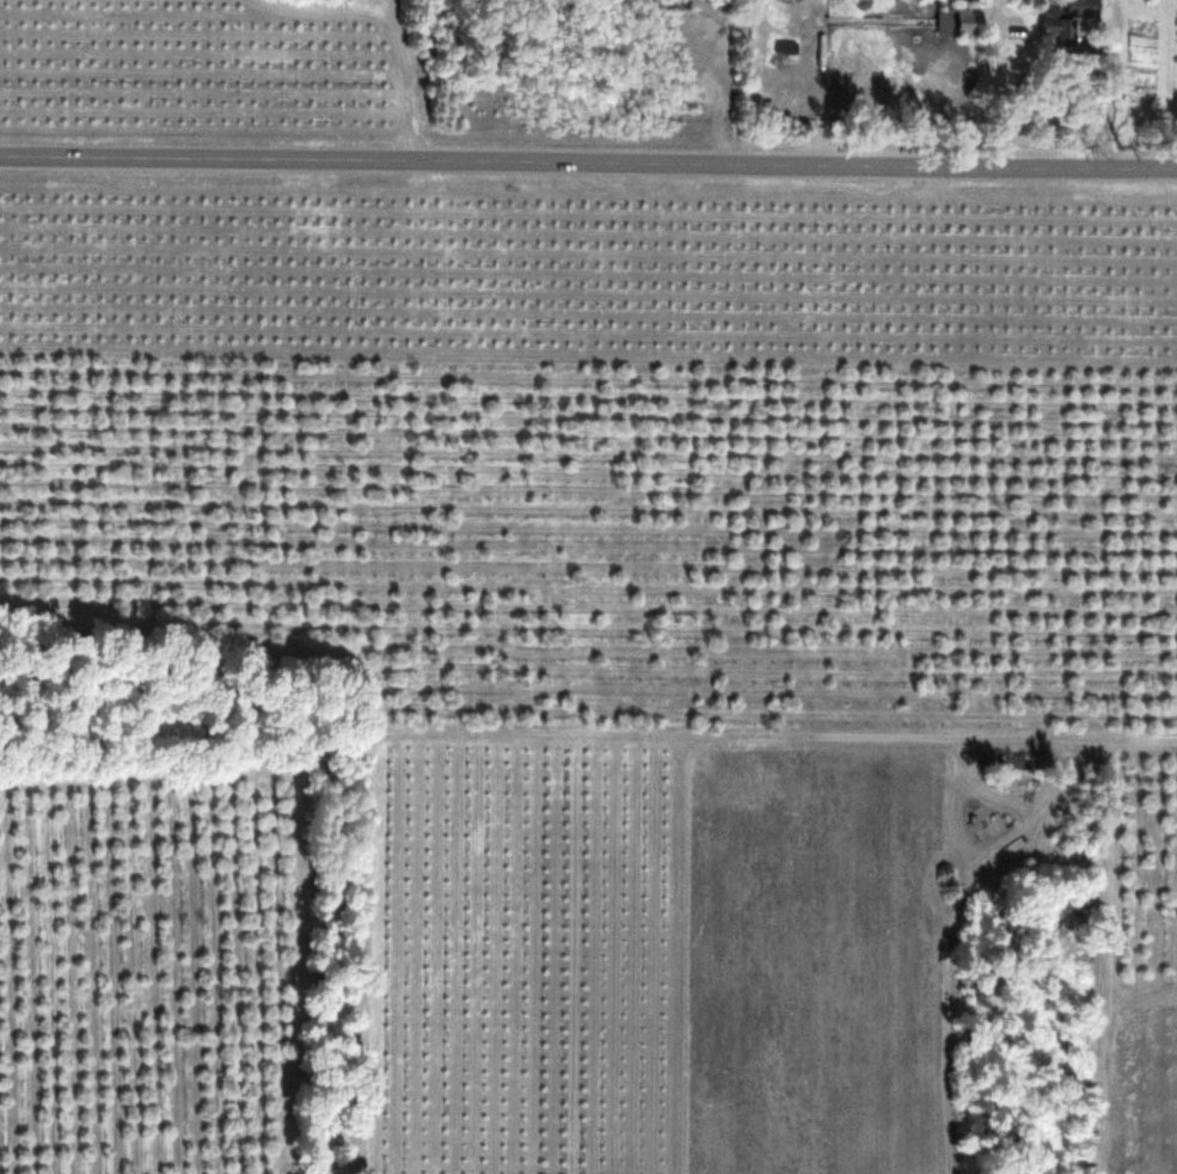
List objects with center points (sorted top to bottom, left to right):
building: (1085, 8)
building: (950, 22)
building: (1052, 24)
road: (588, 163)

